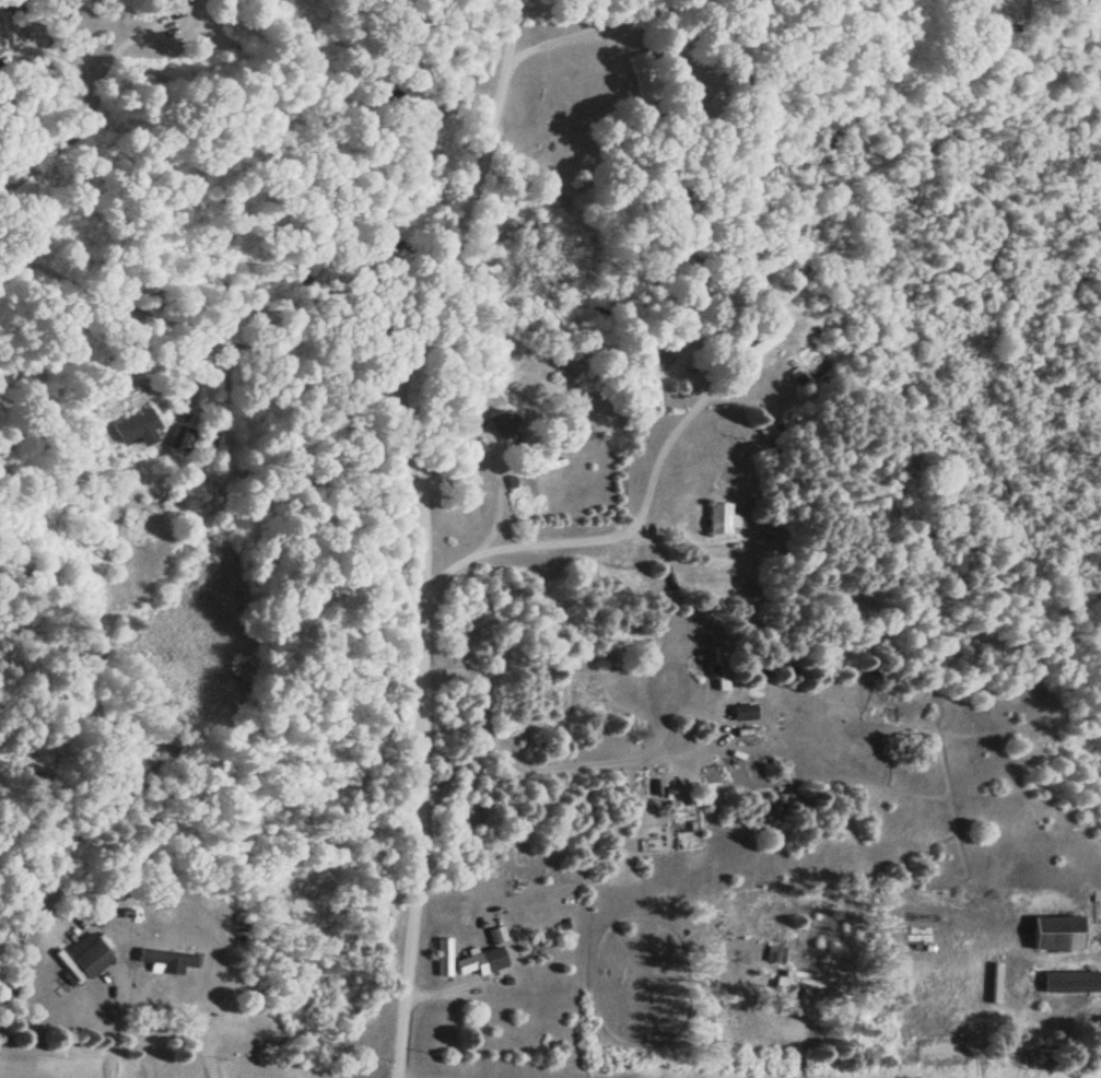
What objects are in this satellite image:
building: (1067, 1)
building: (176, 3)
building: (641, 75)
road: (183, 296)
building: (758, 344)
building: (131, 426)
building: (503, 427)
building: (180, 441)
building: (722, 519)
road: (400, 526)
road: (610, 534)
building: (761, 667)
building: (721, 668)
building: (743, 713)
building: (1058, 935)
building: (87, 956)
building: (775, 956)
building: (167, 961)
building: (481, 963)
building: (795, 982)
building: (1071, 983)

